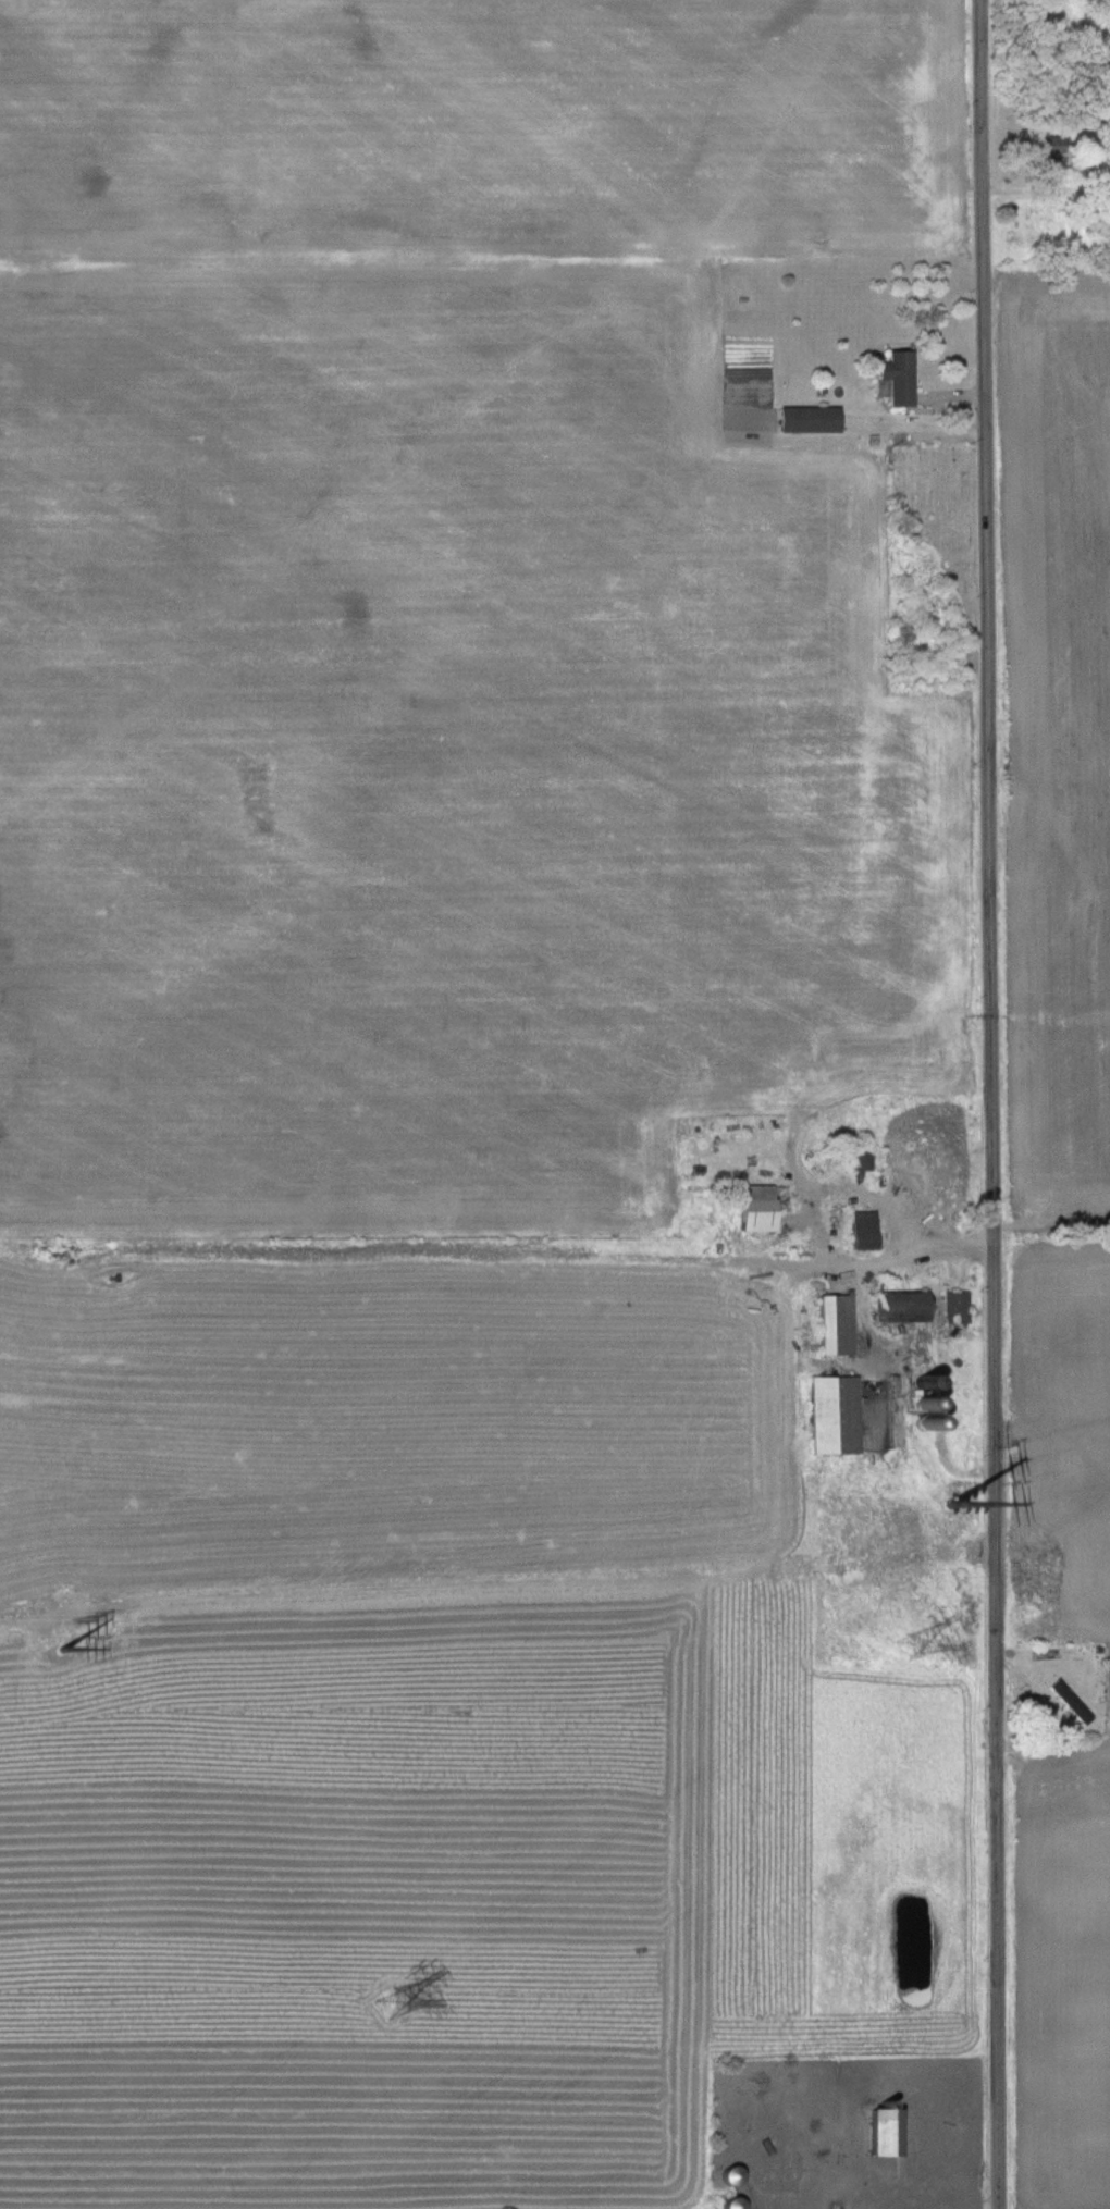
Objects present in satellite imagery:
building: (1053, 152)
building: (899, 378)
building: (809, 420)
road: (994, 1103)
building: (862, 1159)
building: (914, 1192)
building: (761, 1207)
building: (863, 1231)
building: (899, 1306)
building: (955, 1307)
building: (836, 1324)
building: (831, 1422)
power tower: (950, 1505)
power tower: (60, 1637)
power tower: (906, 1644)
building: (1070, 1701)
power tower: (390, 2003)
building: (885, 2132)
building: (730, 2175)
building: (732, 2204)

